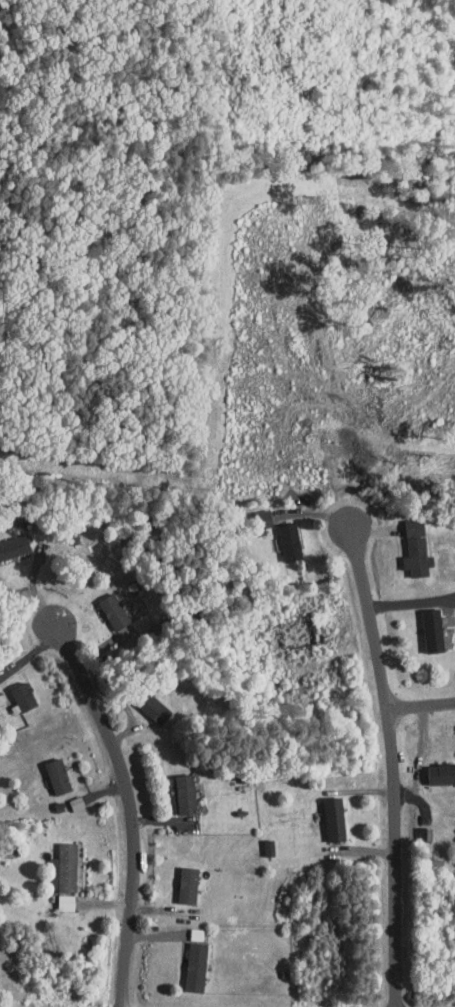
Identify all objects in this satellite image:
building: (404, 520)
building: (279, 535)
building: (8, 538)
building: (407, 550)
road: (412, 601)
building: (104, 605)
building: (423, 623)
building: (287, 624)
building: (14, 690)
building: (144, 702)
road: (422, 705)
road: (393, 756)
building: (436, 766)
building: (48, 769)
building: (176, 787)
road: (131, 808)
building: (324, 812)
building: (53, 862)
building: (178, 878)
building: (56, 896)
building: (185, 961)

